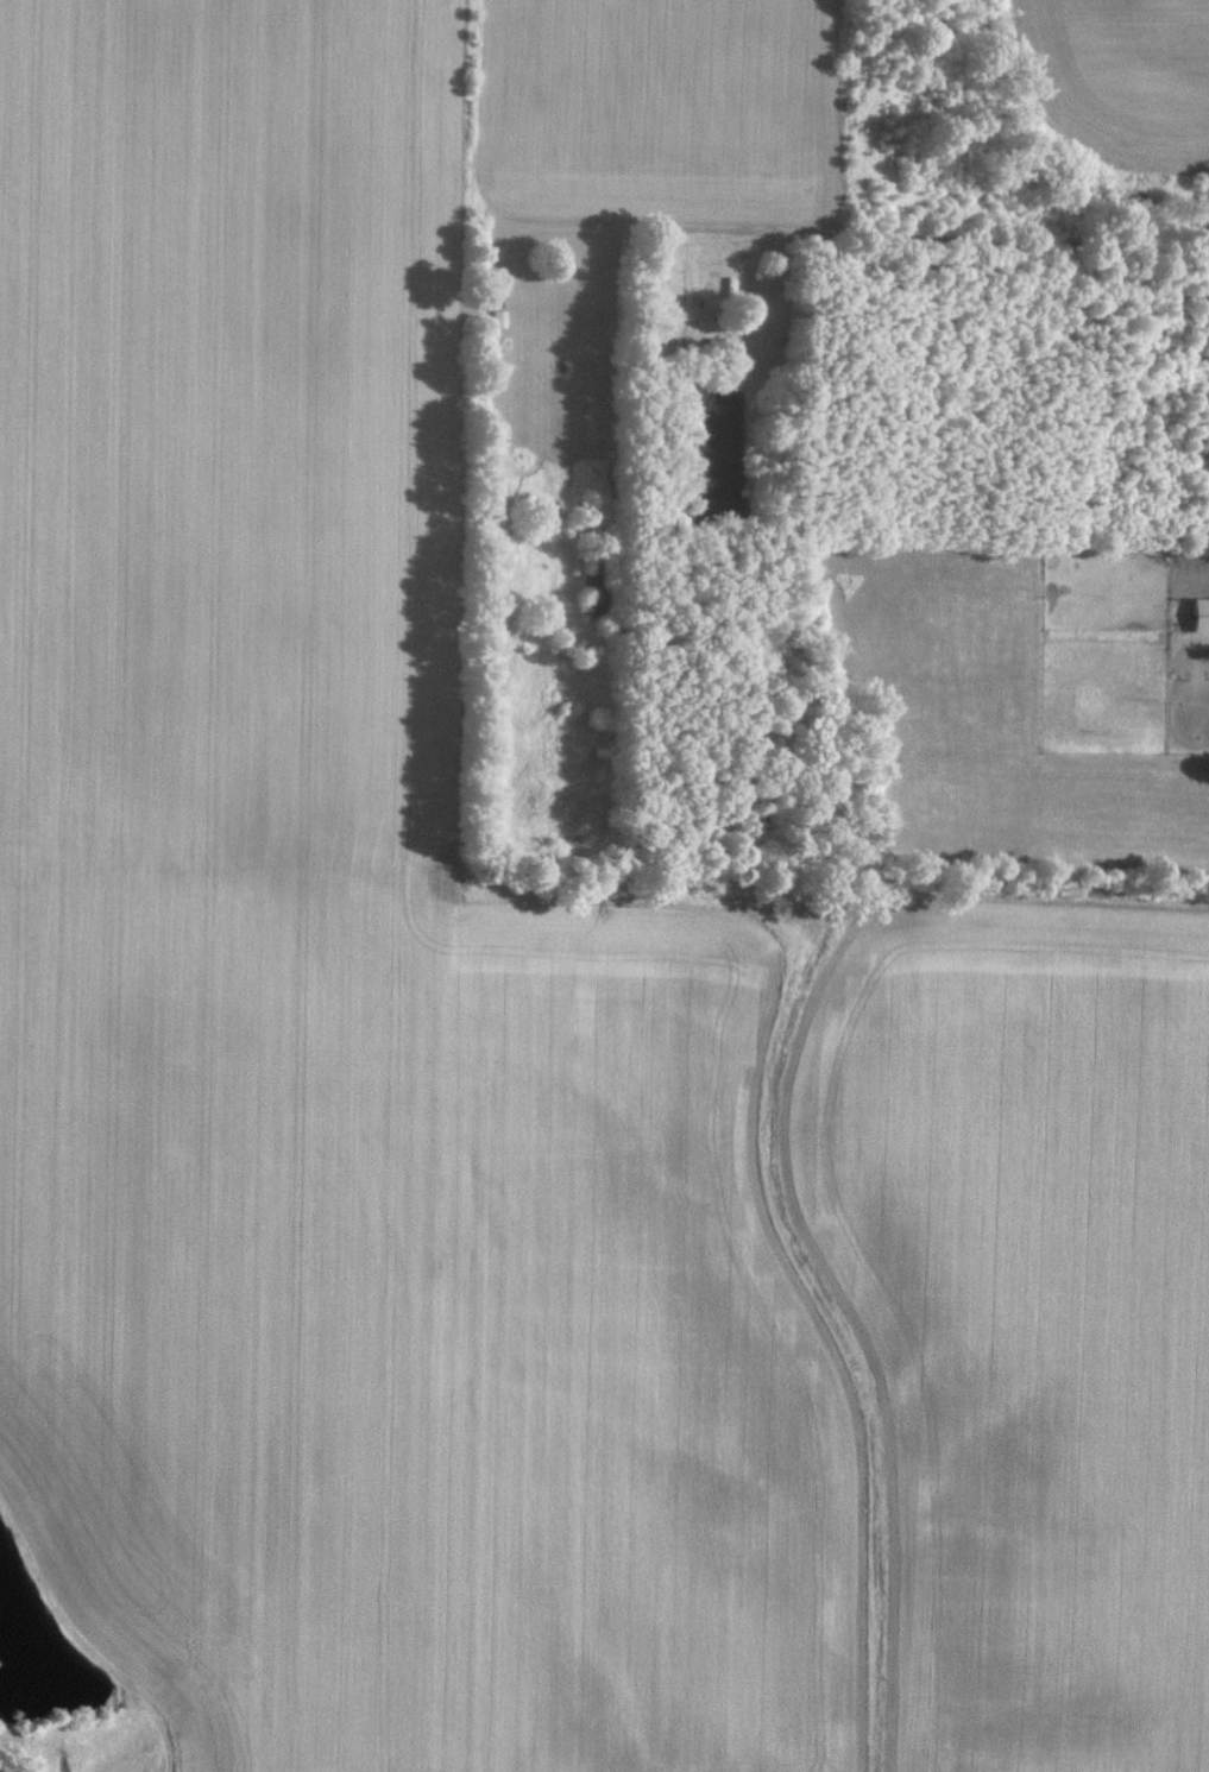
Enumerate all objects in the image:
road: (1005, 227)
building: (1201, 613)
crop: (351, 1003)

